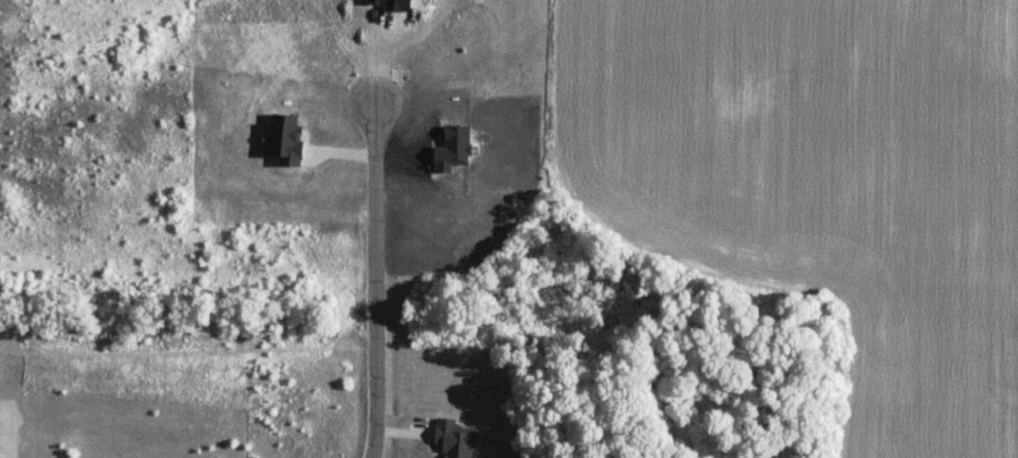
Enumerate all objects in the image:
road: (376, 280)

